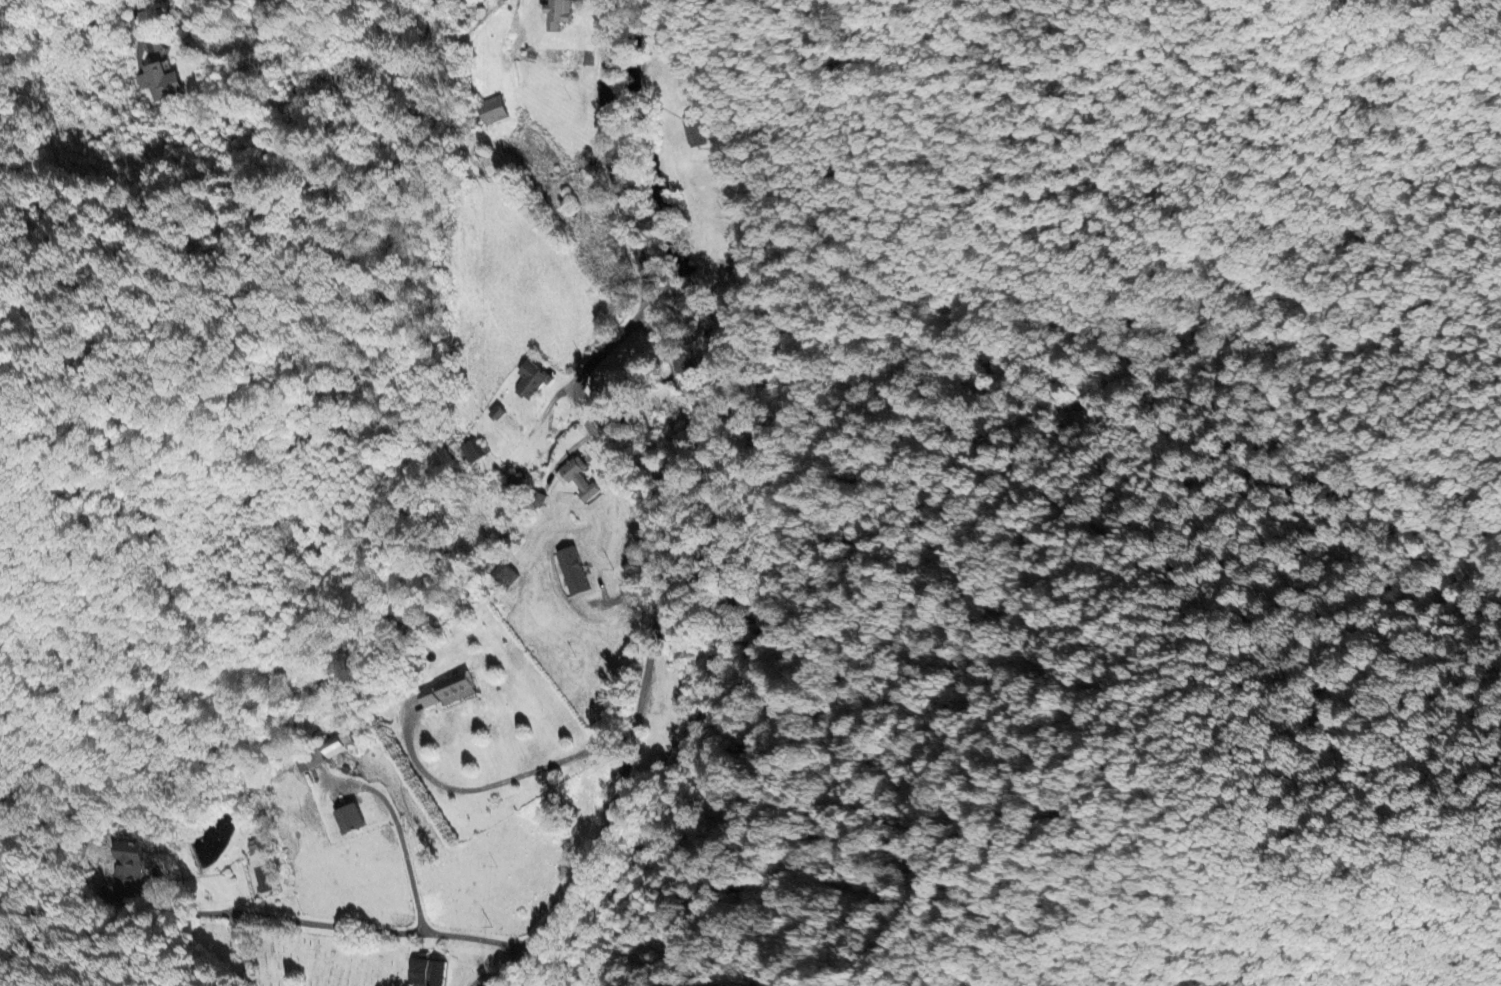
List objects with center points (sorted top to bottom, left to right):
building: (163, 0)
building: (554, 13)
road: (139, 29)
building: (158, 82)
building: (490, 110)
building: (693, 131)
building: (529, 379)
building: (471, 450)
building: (575, 478)
road: (717, 509)
building: (571, 571)
building: (504, 574)
road: (650, 643)
building: (445, 691)
building: (322, 752)
road: (499, 778)
building: (347, 818)
building: (254, 848)
road: (403, 850)
building: (127, 863)
road: (375, 927)
park: (322, 959)
building: (428, 972)

